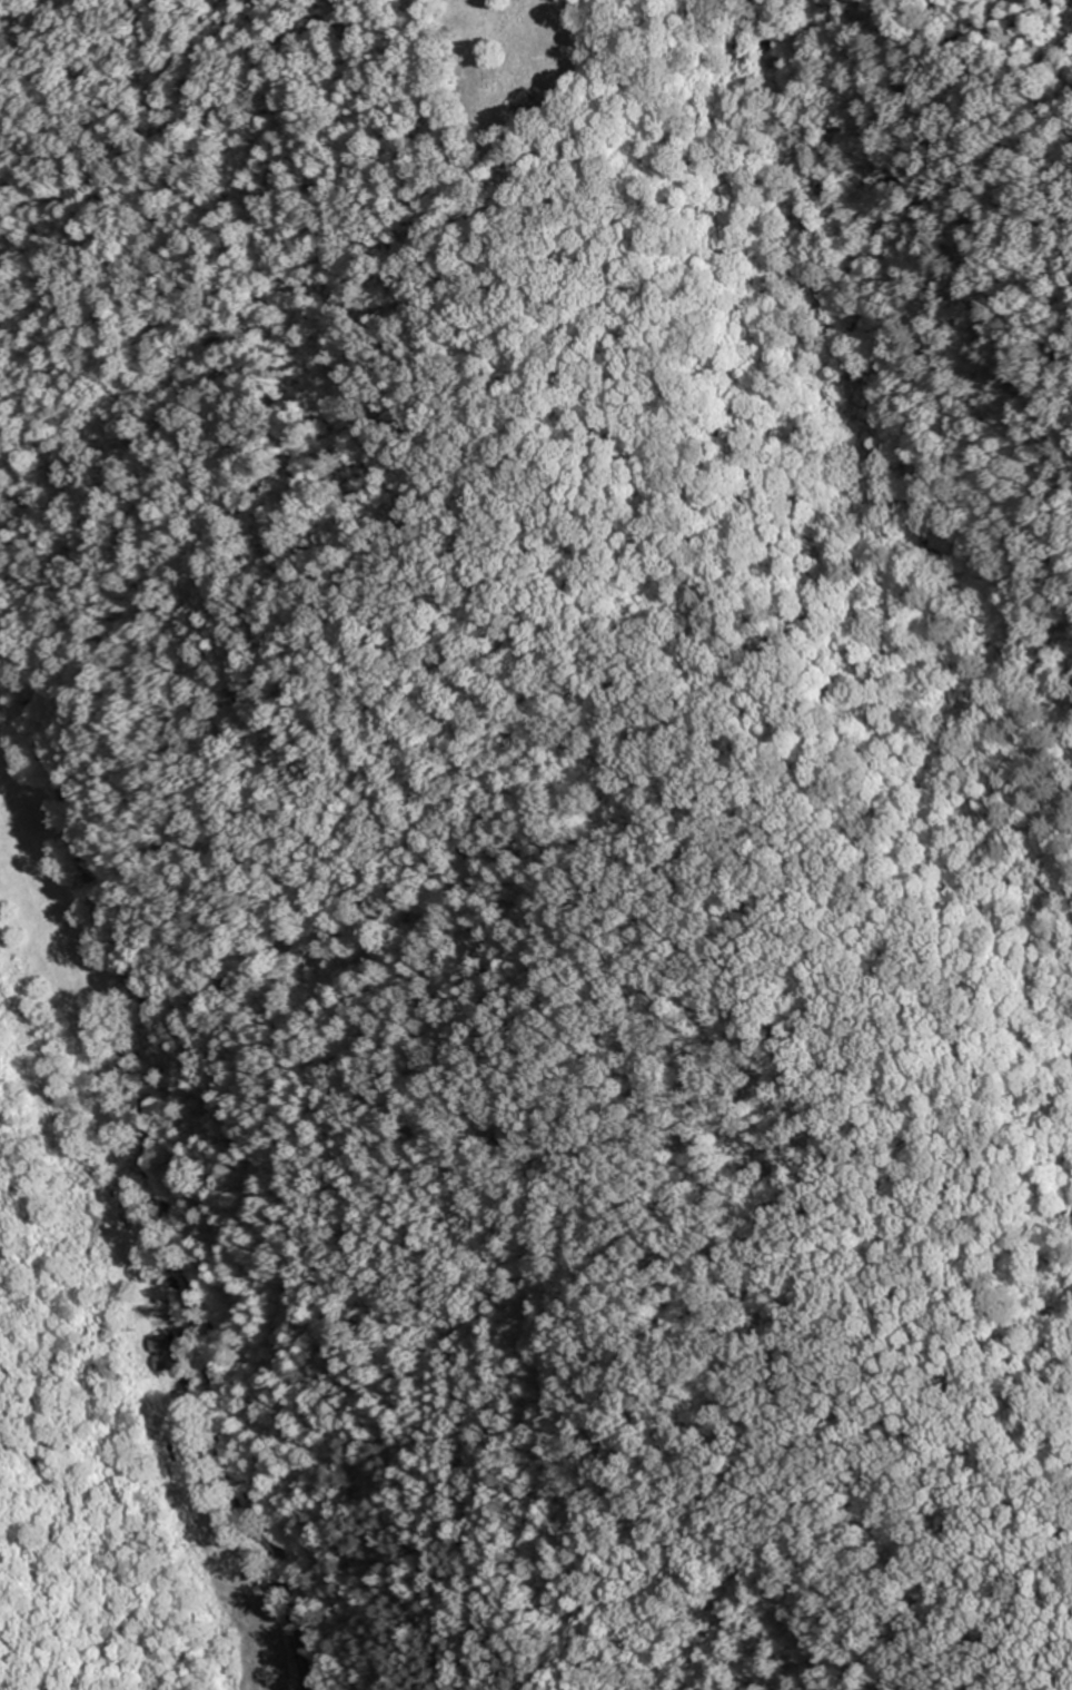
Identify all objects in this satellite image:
road: (156, 1152)
building: (167, 1352)

